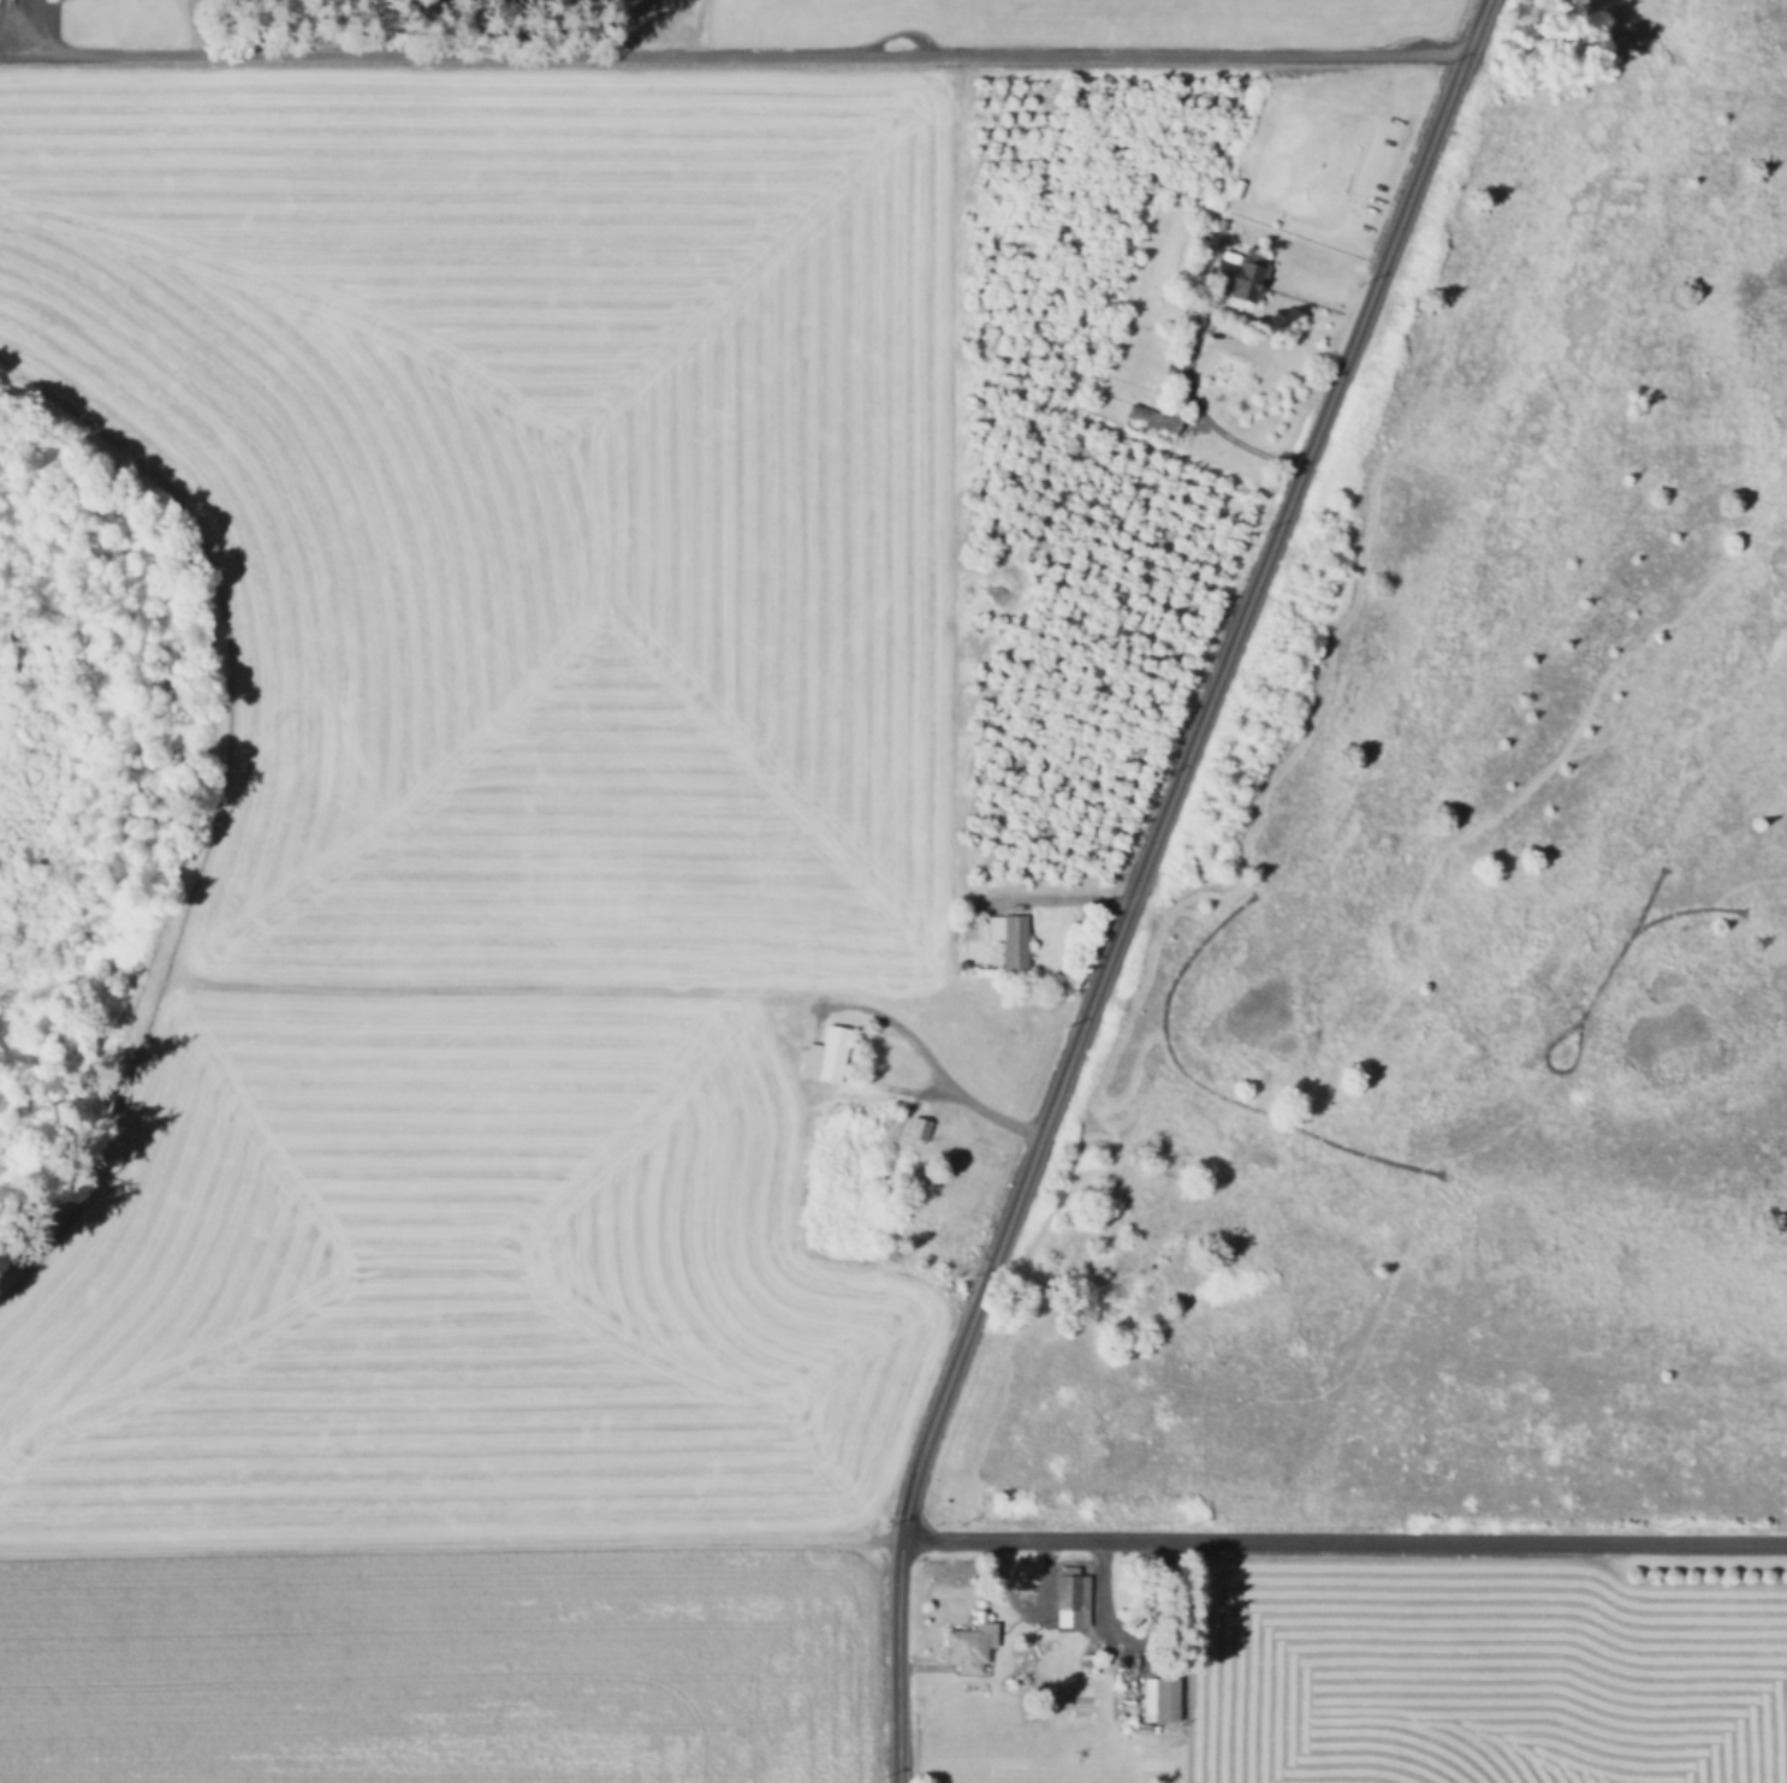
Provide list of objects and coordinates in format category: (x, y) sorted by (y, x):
road: (722, 59)
building: (1241, 274)
building: (1174, 301)
building: (1172, 370)
building: (1156, 421)
road: (1207, 424)
road: (1140, 880)
road: (1061, 898)
park: (1471, 902)
building: (1011, 940)
building: (827, 1058)
road: (928, 1066)
road: (874, 1084)
building: (919, 1133)
road: (1343, 1538)
road: (450, 1543)
building: (1076, 1607)
road: (1132, 1641)
building: (972, 1646)
crop: (1491, 1670)
building: (1023, 1682)
silo: (1023, 1682)
building: (1157, 1702)

